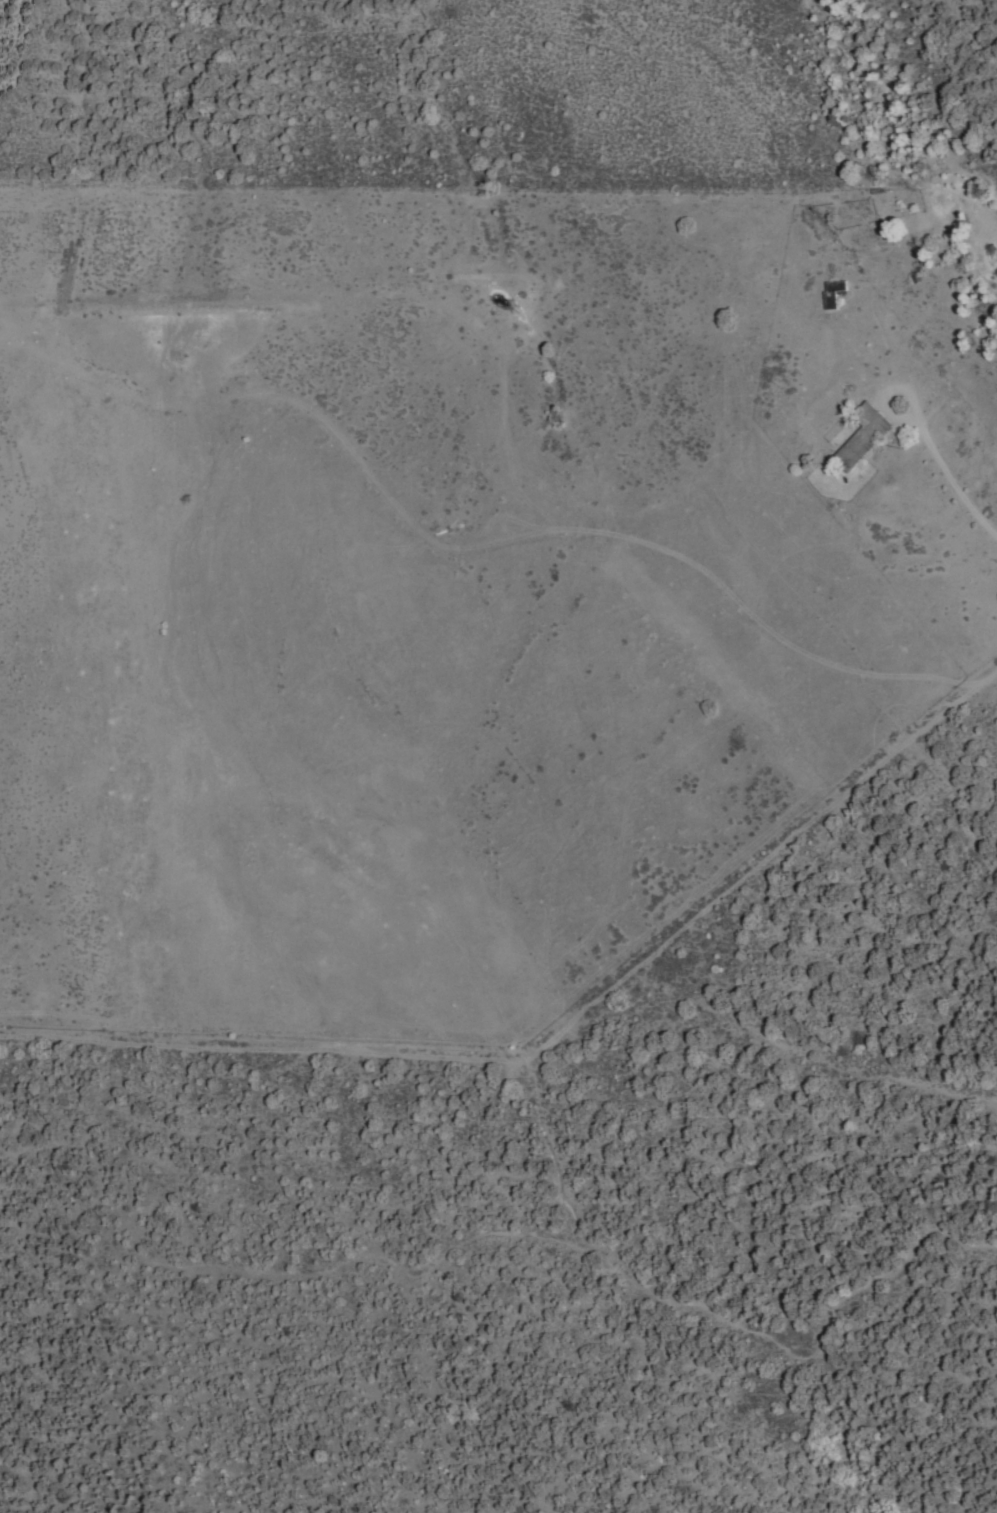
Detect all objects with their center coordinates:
building: (861, 433)
road: (558, 1030)

